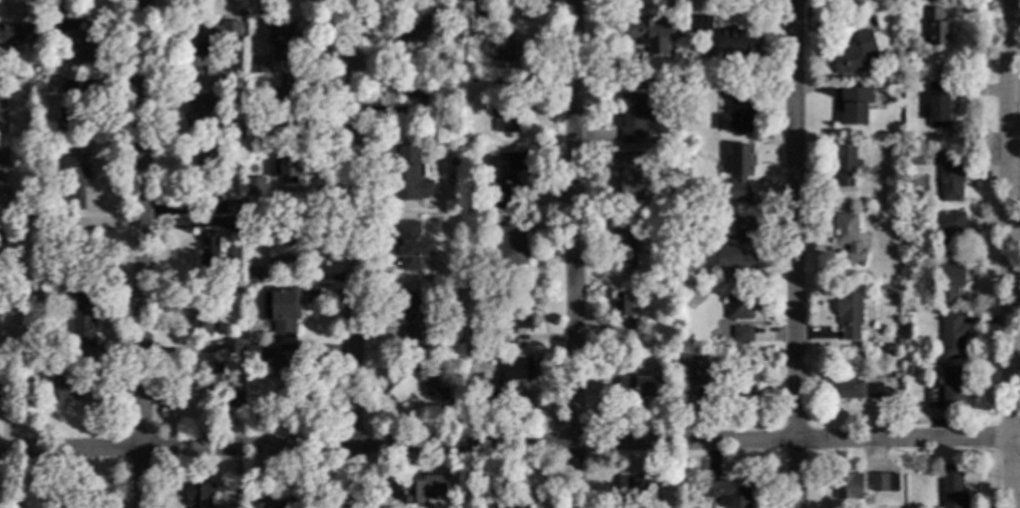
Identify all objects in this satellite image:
building: (700, 24)
building: (937, 27)
building: (477, 29)
building: (649, 30)
building: (423, 33)
building: (6, 34)
building: (71, 39)
building: (281, 39)
building: (206, 42)
building: (739, 44)
building: (503, 47)
building: (853, 54)
building: (257, 65)
building: (227, 81)
building: (70, 87)
building: (411, 88)
building: (287, 99)
building: (505, 105)
building: (855, 105)
building: (938, 105)
building: (445, 109)
building: (201, 110)
building: (736, 111)
building: (3, 116)
building: (68, 118)
building: (633, 118)
building: (4, 157)
building: (740, 161)
building: (455, 162)
building: (844, 162)
building: (468, 164)
building: (285, 168)
building: (206, 174)
building: (410, 176)
building: (629, 177)
building: (76, 178)
building: (506, 178)
building: (951, 183)
power tower: (891, 184)
power tower: (921, 184)
building: (254, 186)
building: (0, 202)
building: (233, 207)
building: (250, 221)
building: (56, 226)
building: (235, 226)
building: (689, 226)
building: (949, 230)
building: (848, 236)
building: (510, 241)
building: (625, 244)
building: (412, 247)
building: (82, 249)
building: (283, 249)
building: (209, 251)
building: (2, 252)
road: (354, 253)
road: (573, 253)
road: (141, 254)
road: (790, 254)
road: (1011, 254)
building: (733, 255)
building: (252, 276)
building: (945, 282)
building: (240, 291)
building: (25, 293)
building: (37, 293)
building: (906, 297)
building: (623, 305)
building: (738, 308)
building: (281, 310)
building: (850, 315)
building: (203, 317)
building: (409, 319)
building: (81, 321)
building: (514, 321)
building: (633, 328)
building: (742, 335)
building: (952, 337)
building: (900, 342)
building: (233, 346)
building: (457, 346)
building: (253, 353)
building: (676, 359)
building: (466, 360)
building: (92, 363)
building: (284, 363)
building: (23, 365)
building: (908, 370)
building: (896, 376)
building: (690, 377)
building: (466, 378)
building: (505, 379)
building: (742, 379)
building: (470, 386)
building: (218, 387)
building: (642, 387)
building: (948, 389)
building: (73, 390)
building: (855, 390)
building: (417, 391)
building: (5, 397)
road: (509, 438)
building: (883, 483)
building: (498, 486)
building: (847, 487)
building: (421, 488)
building: (635, 490)
building: (952, 491)
building: (726, 493)
building: (197, 495)
building: (73, 502)
building: (516, 504)
building: (270, 505)

